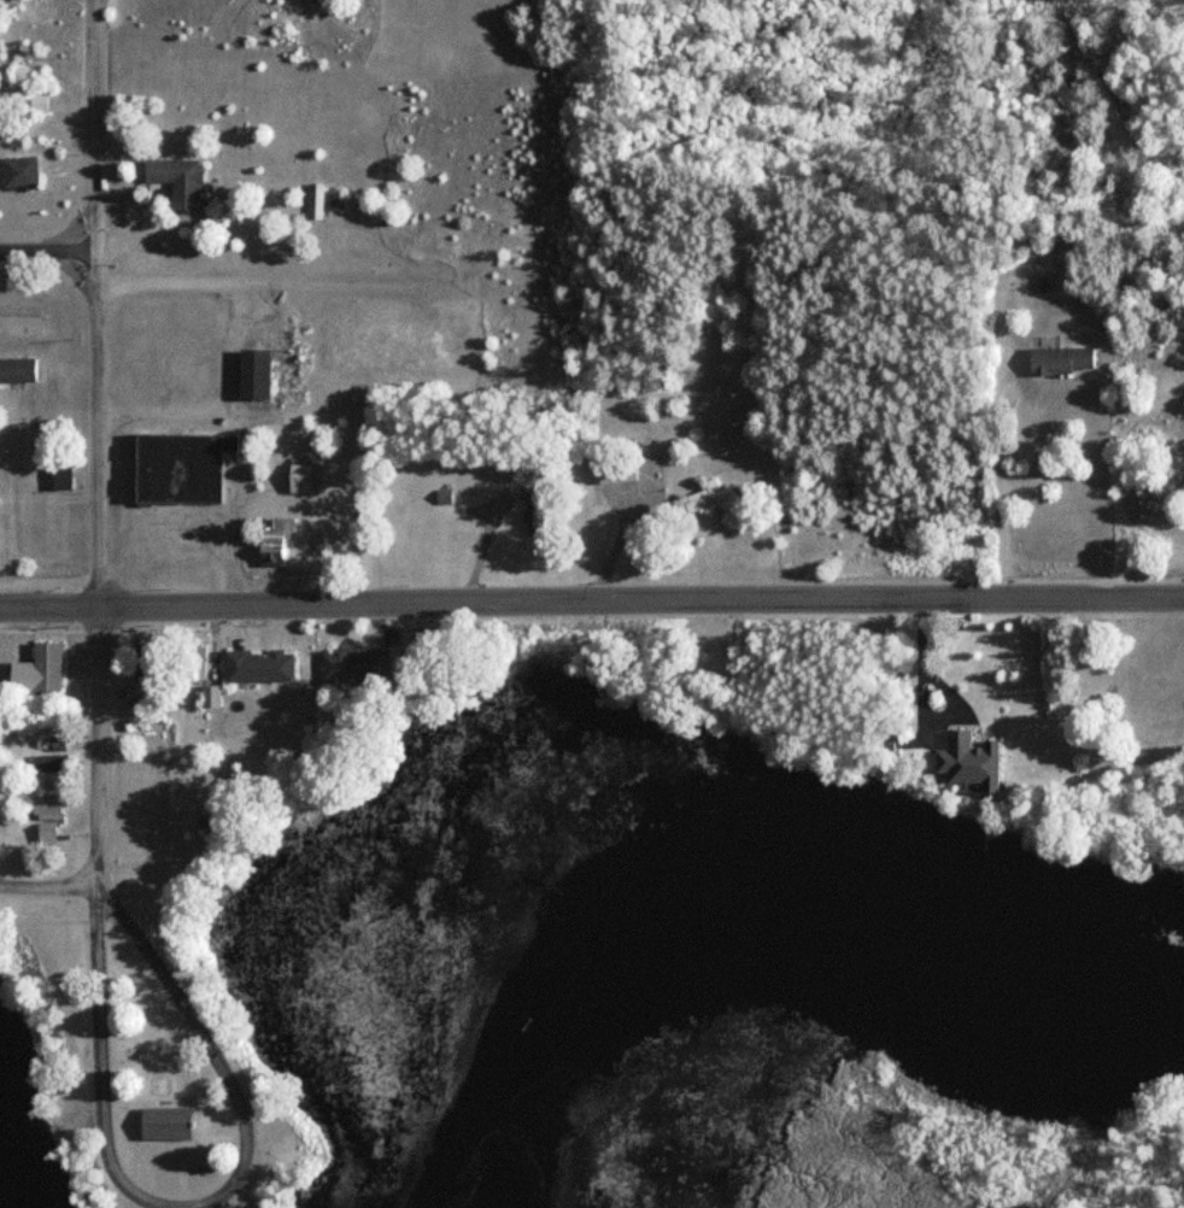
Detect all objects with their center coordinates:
building: (17, 171)
building: (175, 181)
building: (312, 201)
road: (68, 229)
road: (14, 250)
road: (64, 264)
road: (244, 282)
building: (1059, 360)
building: (16, 370)
building: (251, 371)
road: (219, 405)
road: (94, 439)
building: (178, 468)
building: (509, 468)
building: (612, 469)
road: (992, 473)
building: (299, 477)
building: (58, 479)
building: (698, 498)
building: (534, 514)
building: (270, 536)
building: (333, 546)
road: (592, 600)
building: (141, 663)
building: (193, 663)
building: (347, 665)
building: (254, 667)
building: (42, 668)
building: (206, 696)
building: (965, 762)
building: (40, 813)
road: (47, 887)
river: (758, 960)
building: (163, 1124)
road: (195, 1201)

